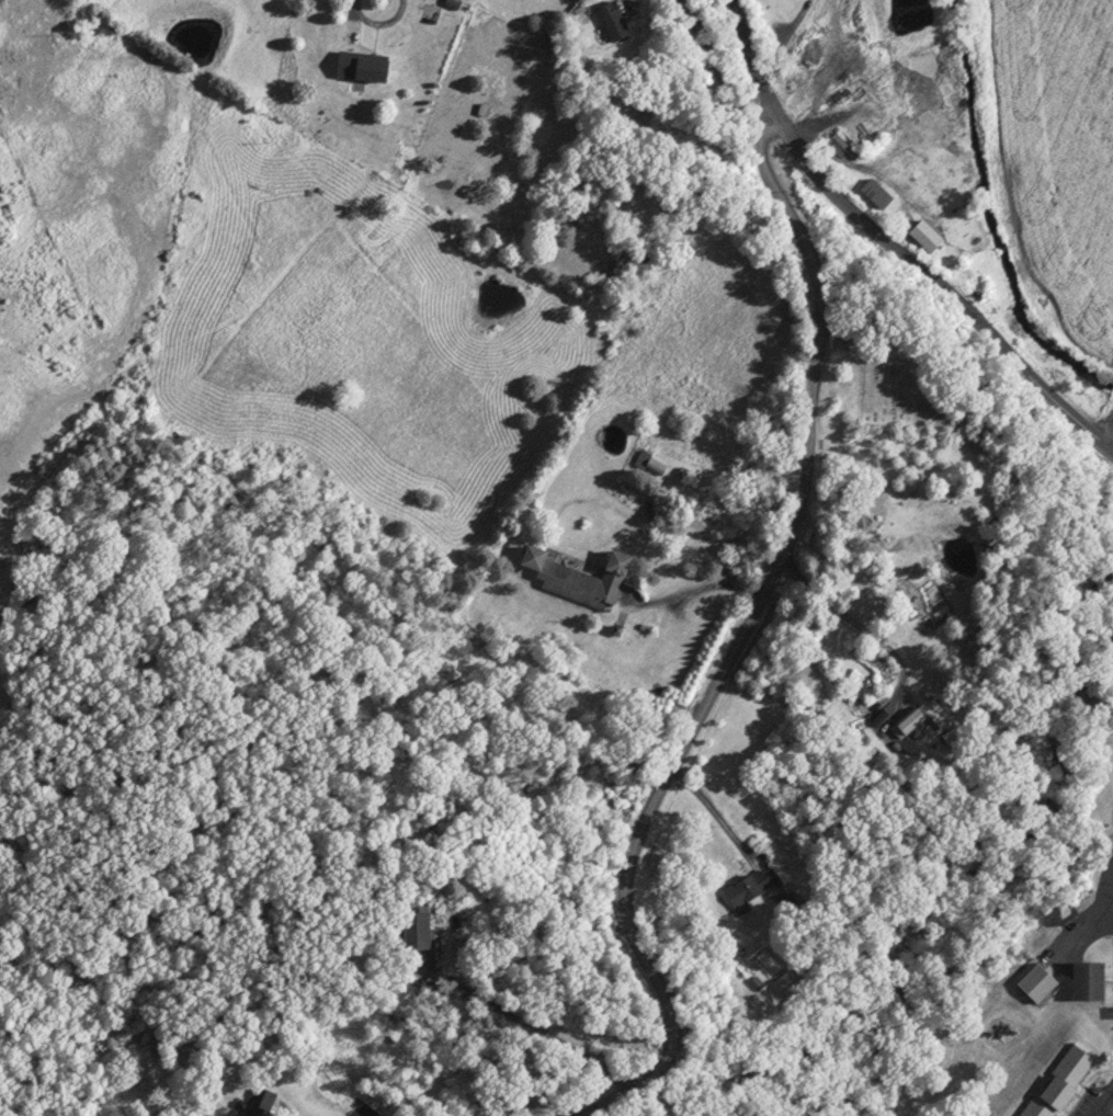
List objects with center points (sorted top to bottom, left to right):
building: (610, 22)
building: (361, 67)
road: (894, 237)
building: (578, 578)
road: (737, 650)
building: (909, 722)
building: (745, 889)
building: (414, 931)
building: (1086, 980)
building: (1035, 982)
building: (1057, 1082)
building: (259, 1103)
road: (1105, 1105)

